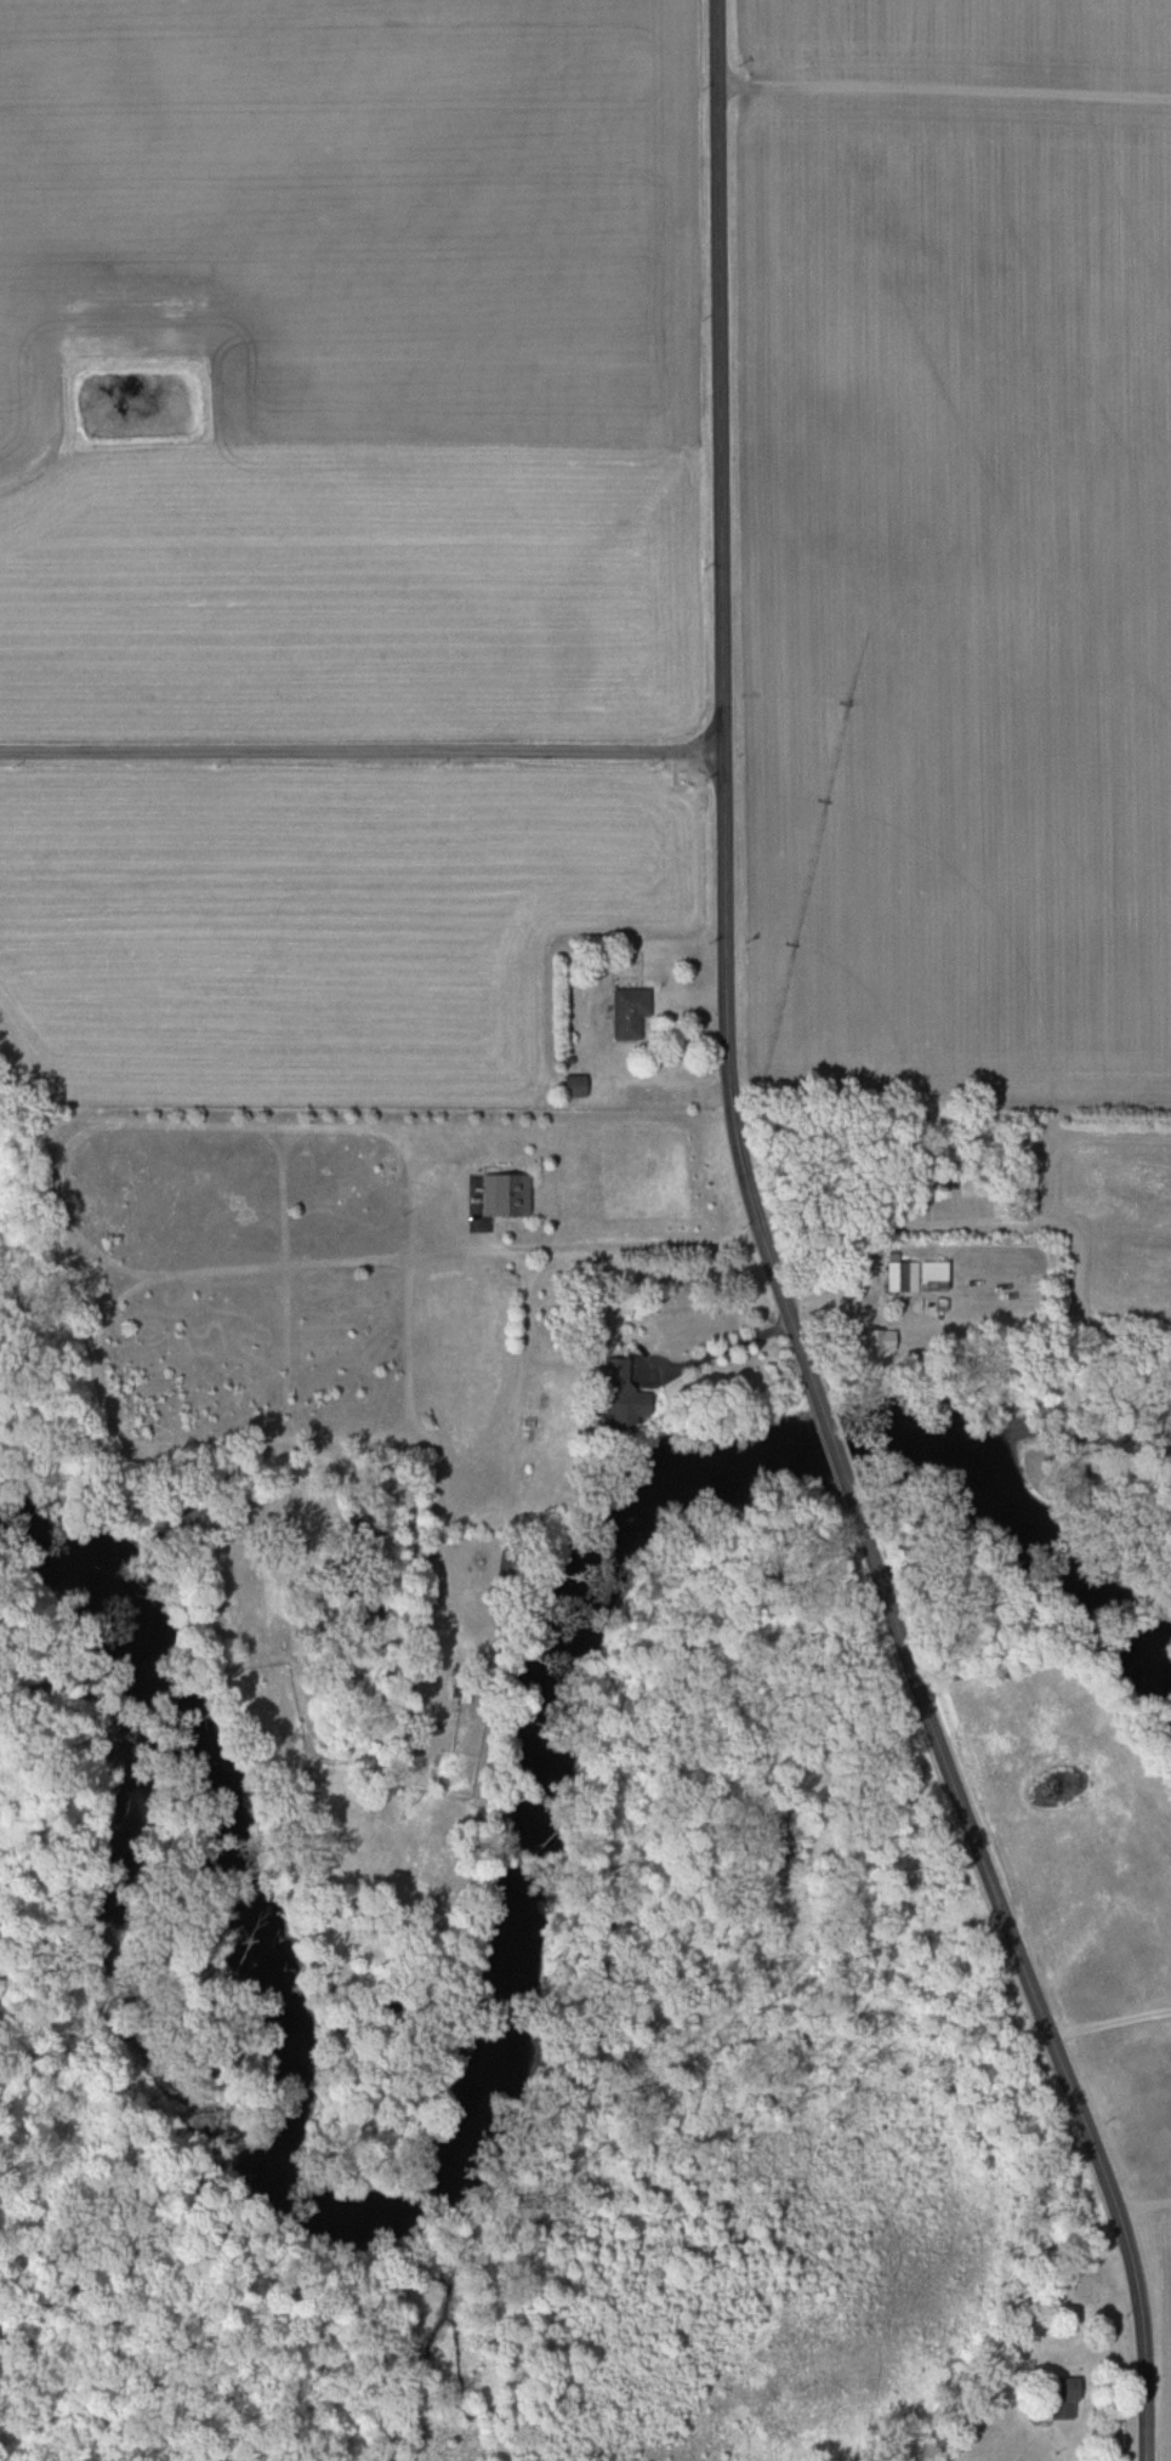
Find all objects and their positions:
road: (945, 87)
road: (722, 700)
road: (360, 751)
building: (624, 1011)
building: (570, 1084)
building: (502, 1193)
road: (968, 1230)
road: (608, 1243)
building: (914, 1275)
building: (871, 1340)
building: (614, 1396)
road: (832, 1447)
road: (1028, 1976)
river: (516, 2013)
road: (1110, 2020)
building: (1058, 2398)

